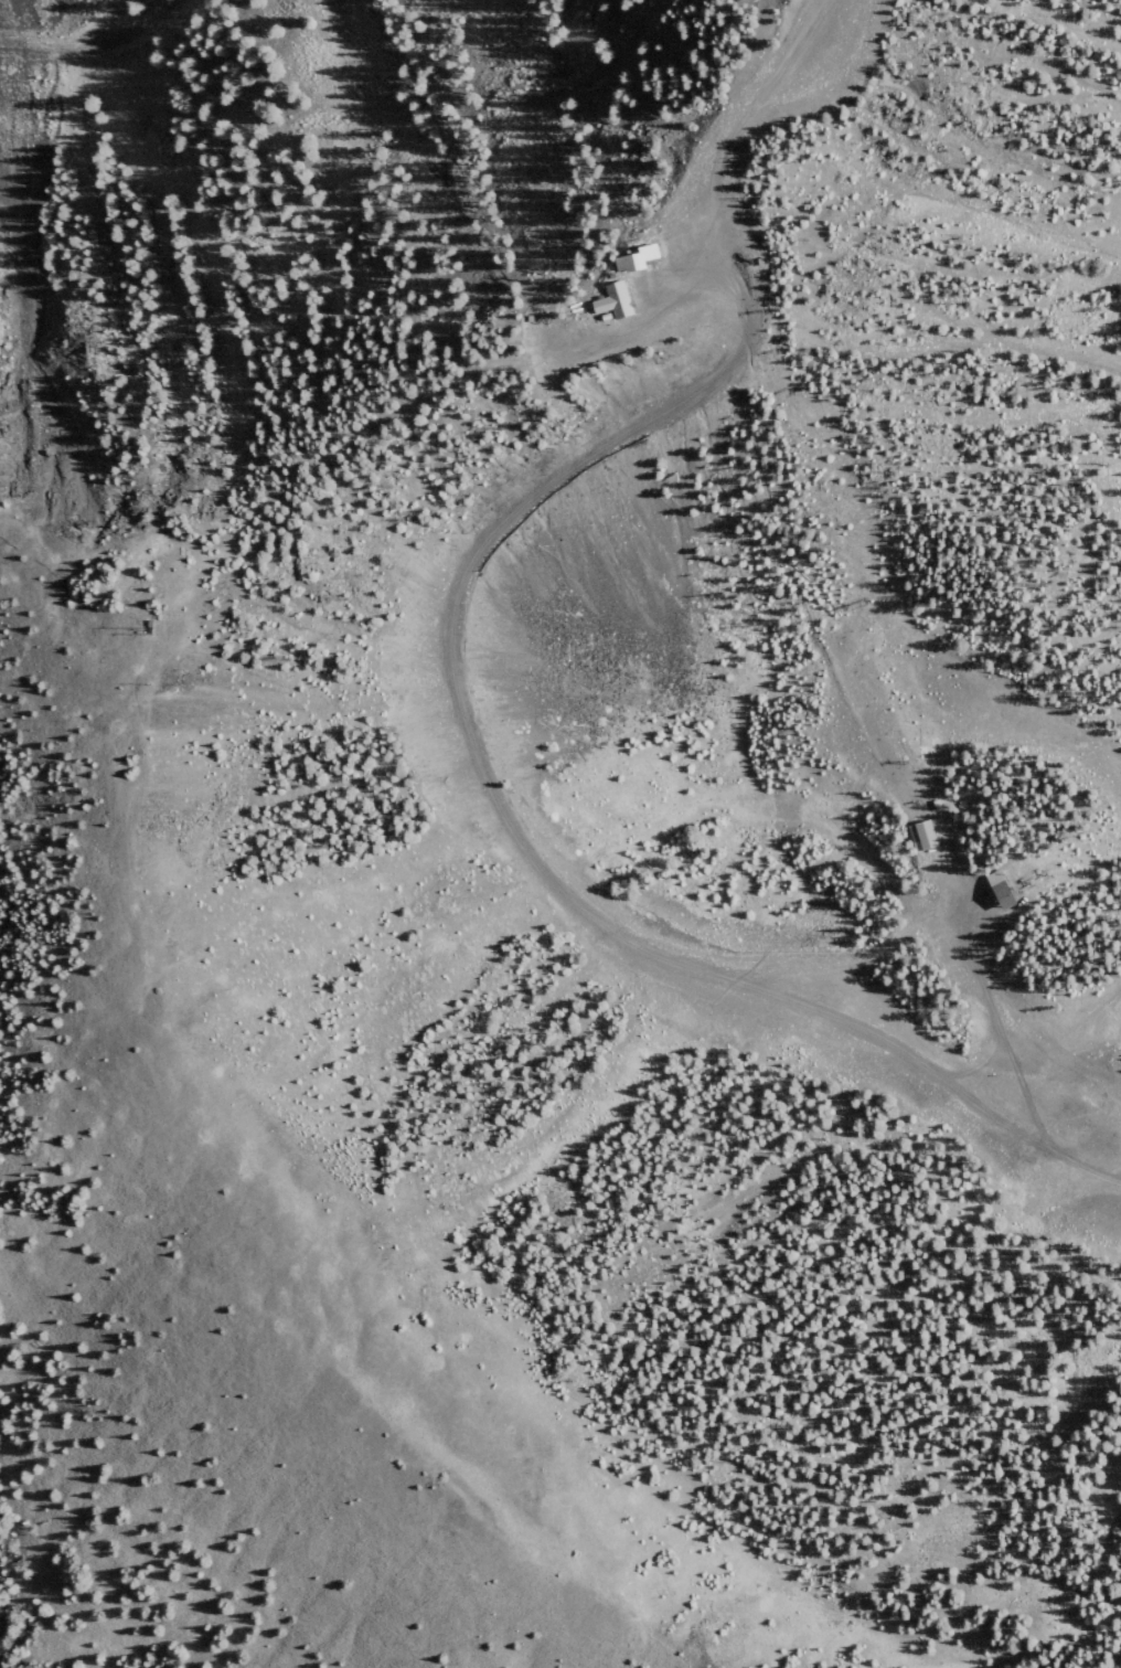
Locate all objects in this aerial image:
road: (87, 1)
road: (88, 1)
road: (808, 15)
road: (585, 61)
aerialway pylon: (508, 97)
road: (741, 147)
road: (1001, 178)
building: (655, 256)
building: (779, 258)
aerialway pylon: (543, 270)
aerialway pylon: (545, 280)
aerialway pylon: (547, 294)
building: (632, 299)
aerialway pylon: (776, 349)
aerialway pylon: (854, 609)
ski resort: (631, 732)
aerialway pylon: (910, 795)
road: (713, 814)
building: (931, 833)
road: (525, 843)
aerialway pylon: (1042, 872)
building: (1011, 890)

